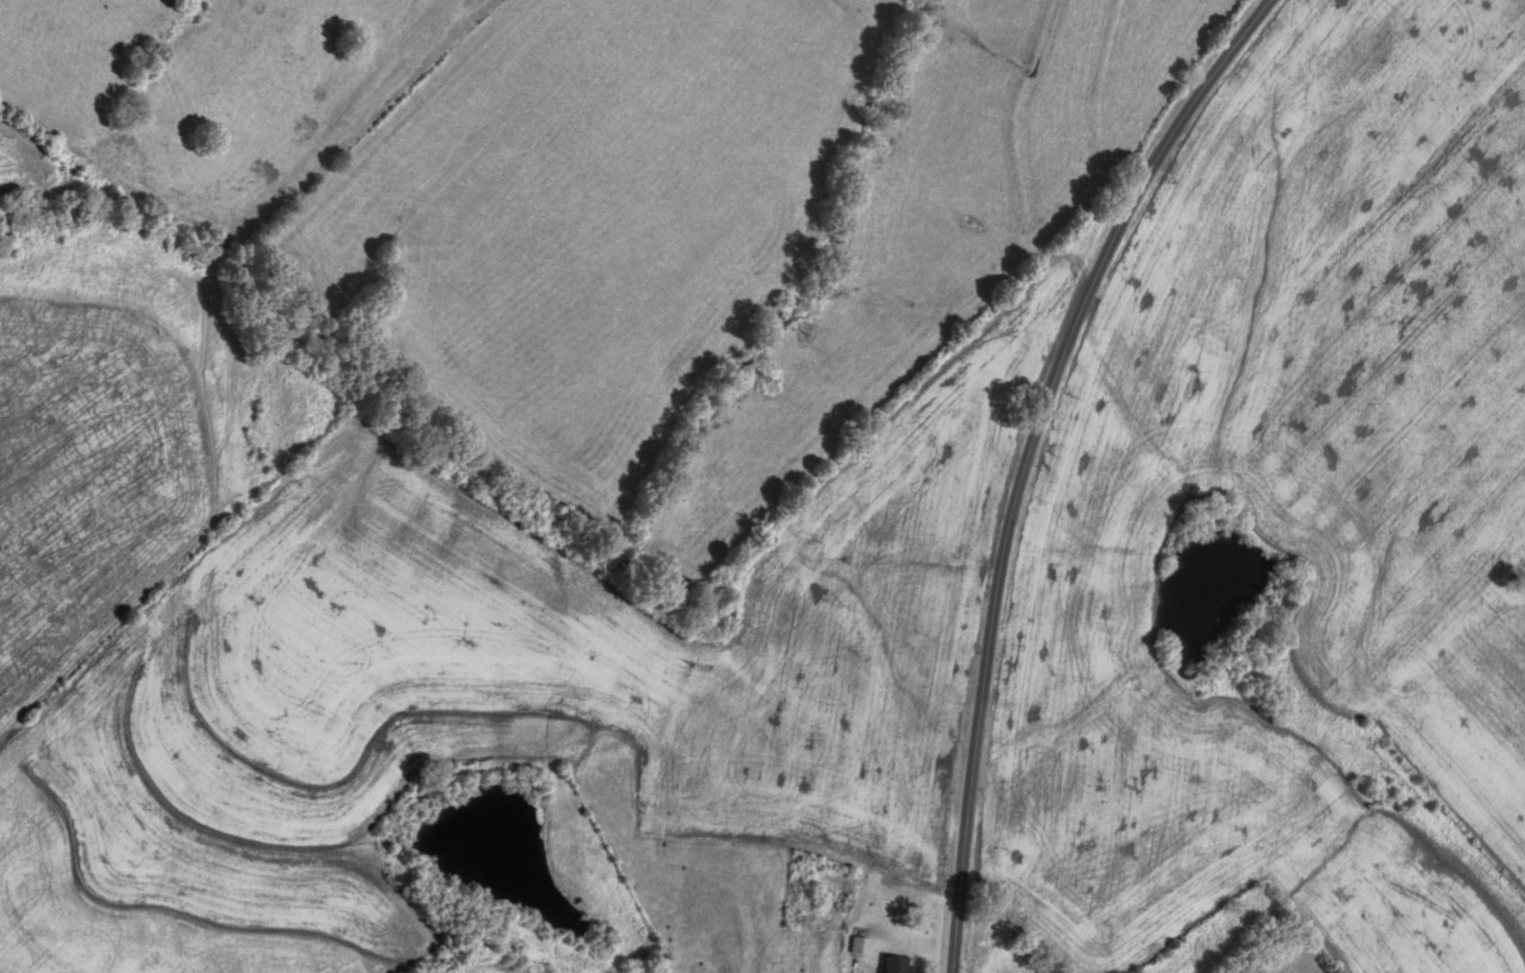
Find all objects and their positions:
road: (1030, 457)
building: (861, 944)
building: (898, 964)

